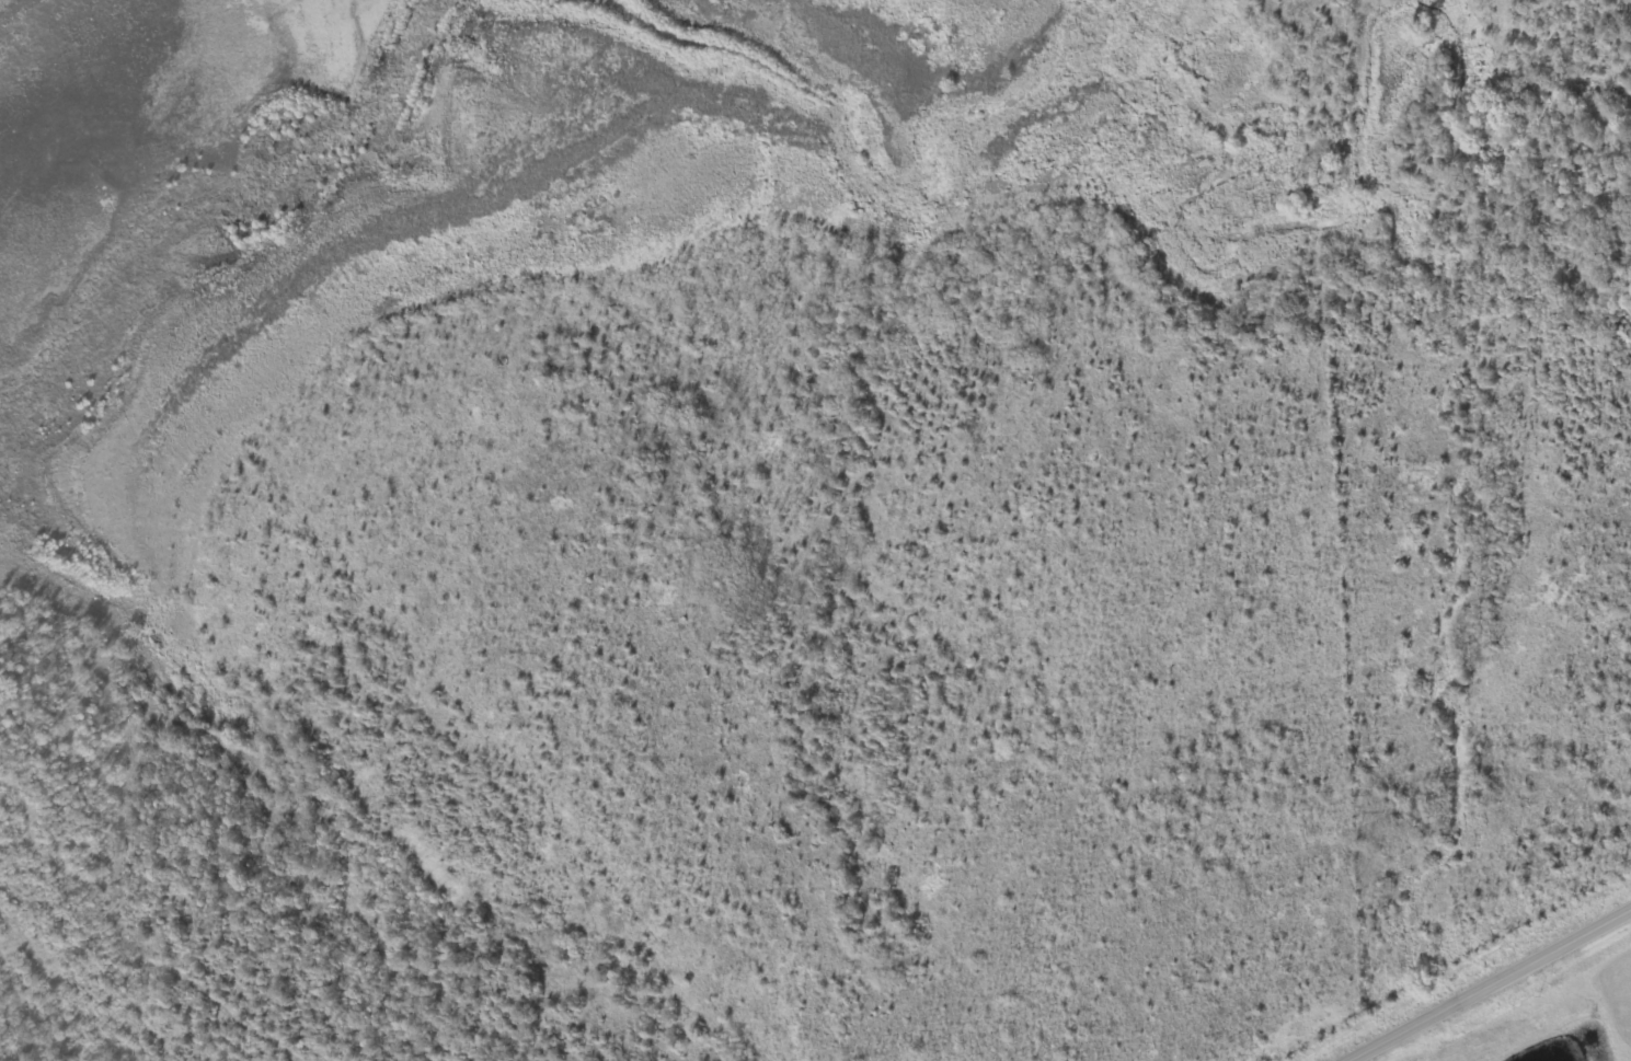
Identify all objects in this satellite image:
road: (1494, 988)

